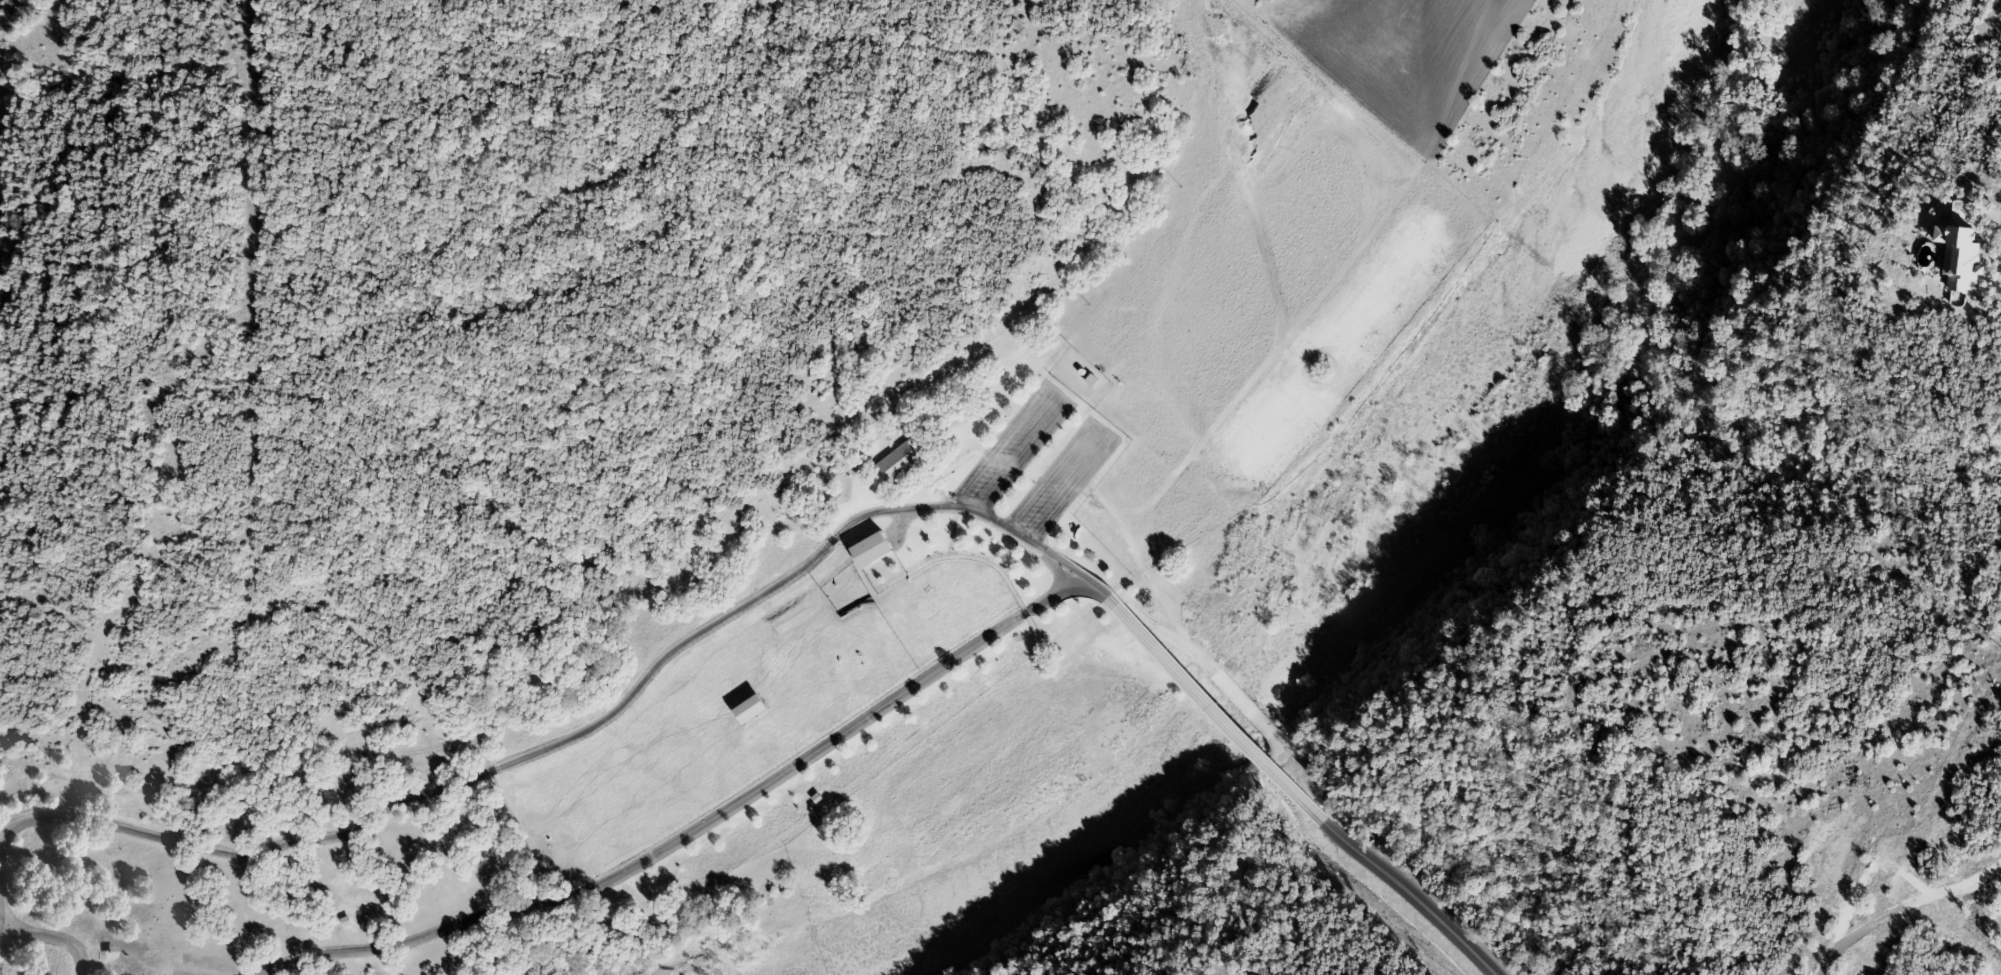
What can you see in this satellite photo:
road: (1991, 215)
building: (1957, 255)
river: (1559, 274)
building: (904, 463)
parking lot: (1040, 465)
road: (967, 512)
building: (871, 549)
road: (1066, 583)
road: (1134, 613)
road: (1239, 702)
building: (750, 708)
road: (1884, 860)
road: (1396, 883)
road: (0, 905)
road: (17, 929)
road: (49, 938)

